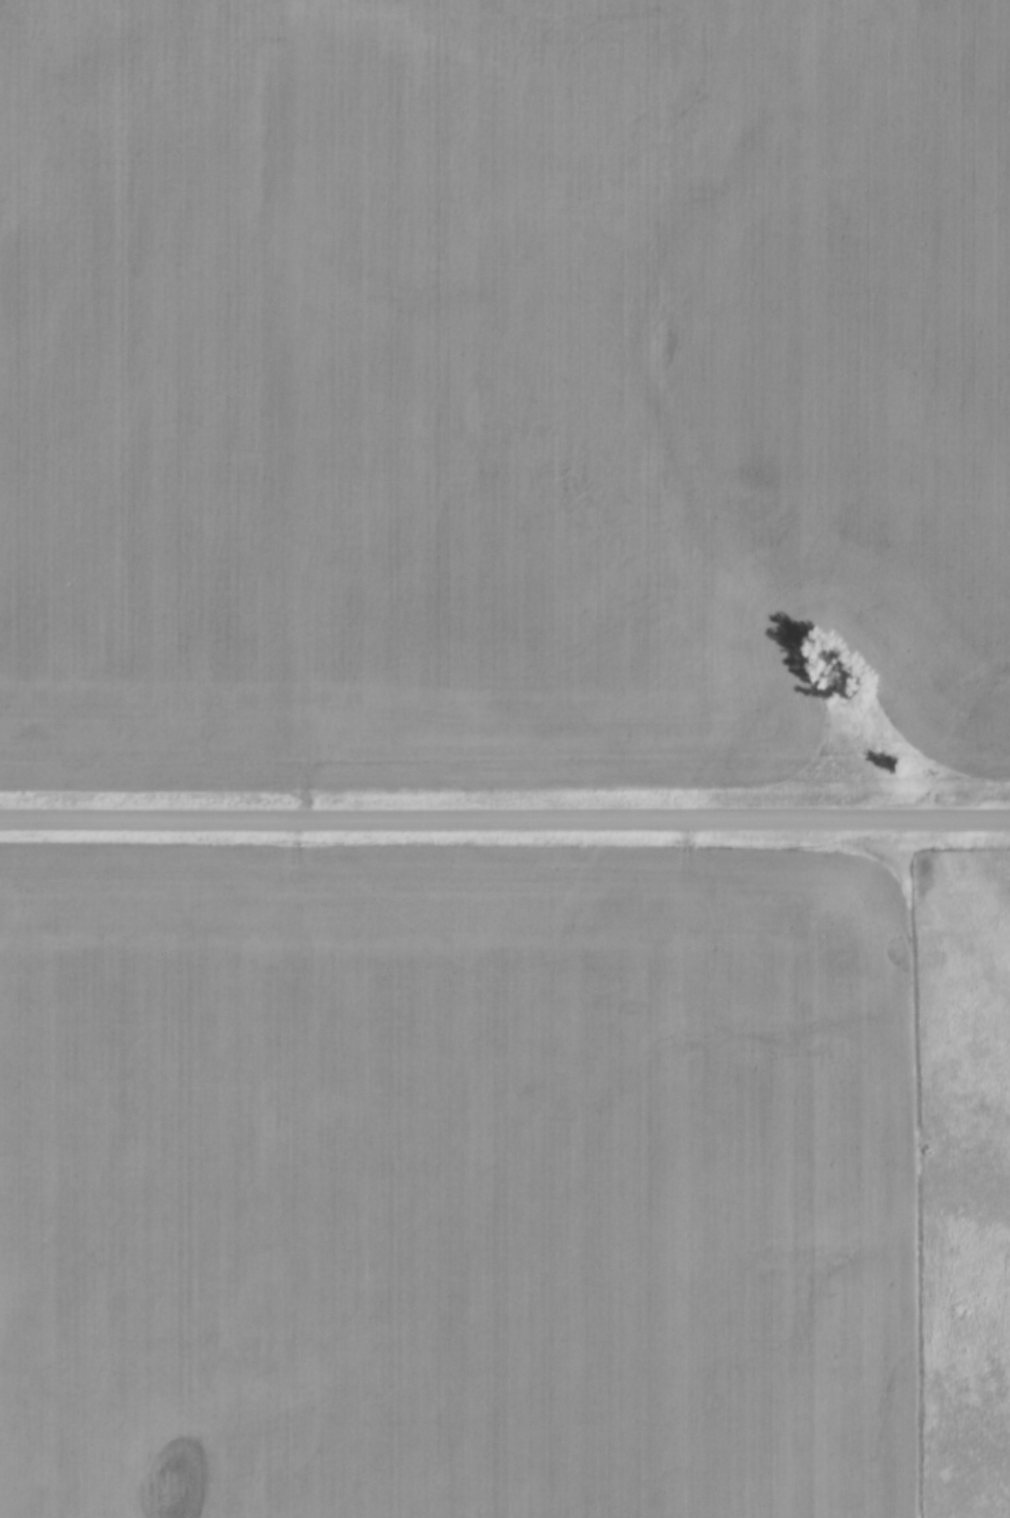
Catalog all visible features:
road: (504, 816)

